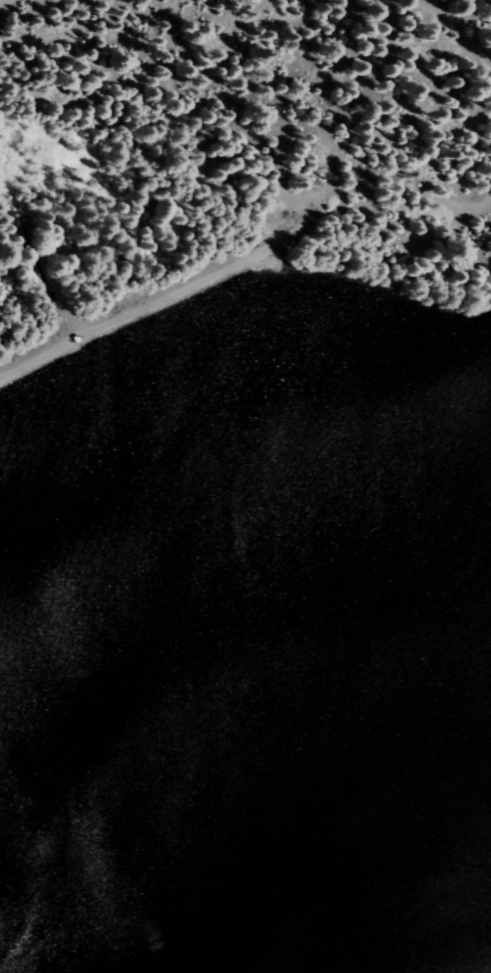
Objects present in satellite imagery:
road: (6, 3)
road: (453, 29)
road: (186, 142)
road: (249, 254)

